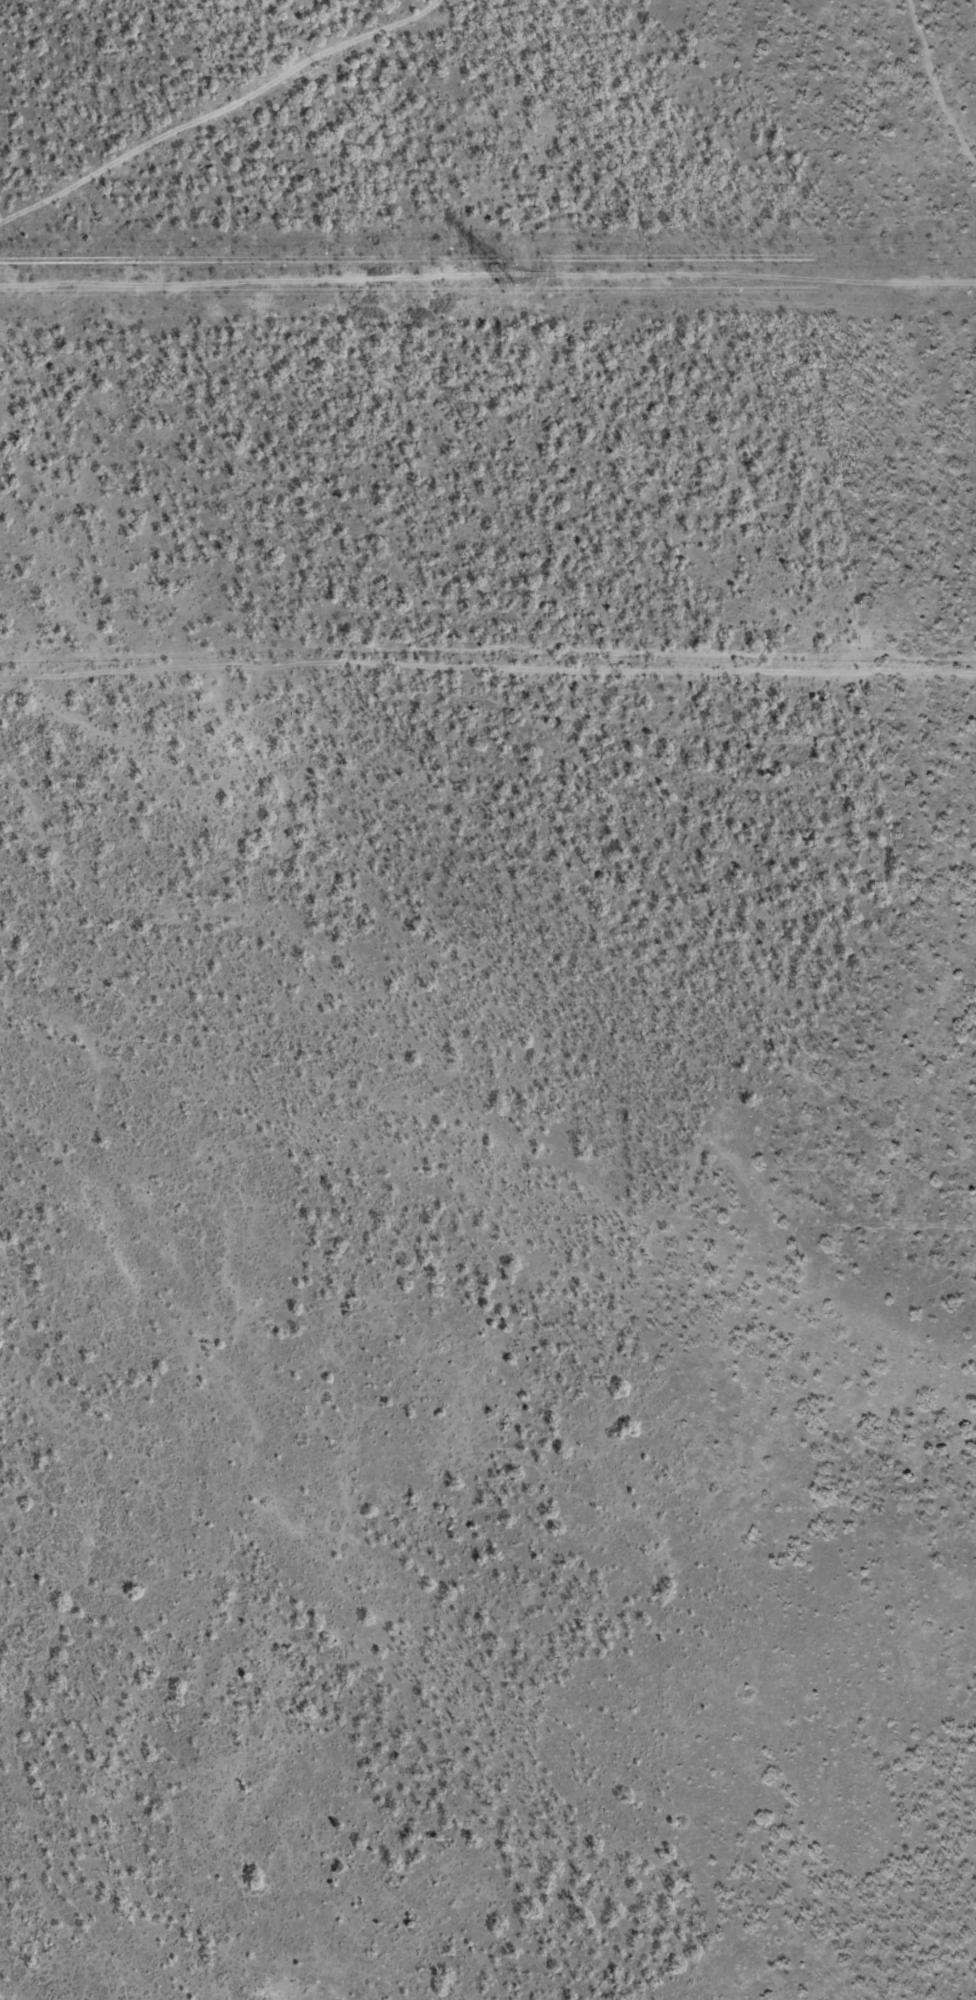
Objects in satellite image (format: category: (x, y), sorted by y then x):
road: (905, 135)
power tower: (507, 275)

